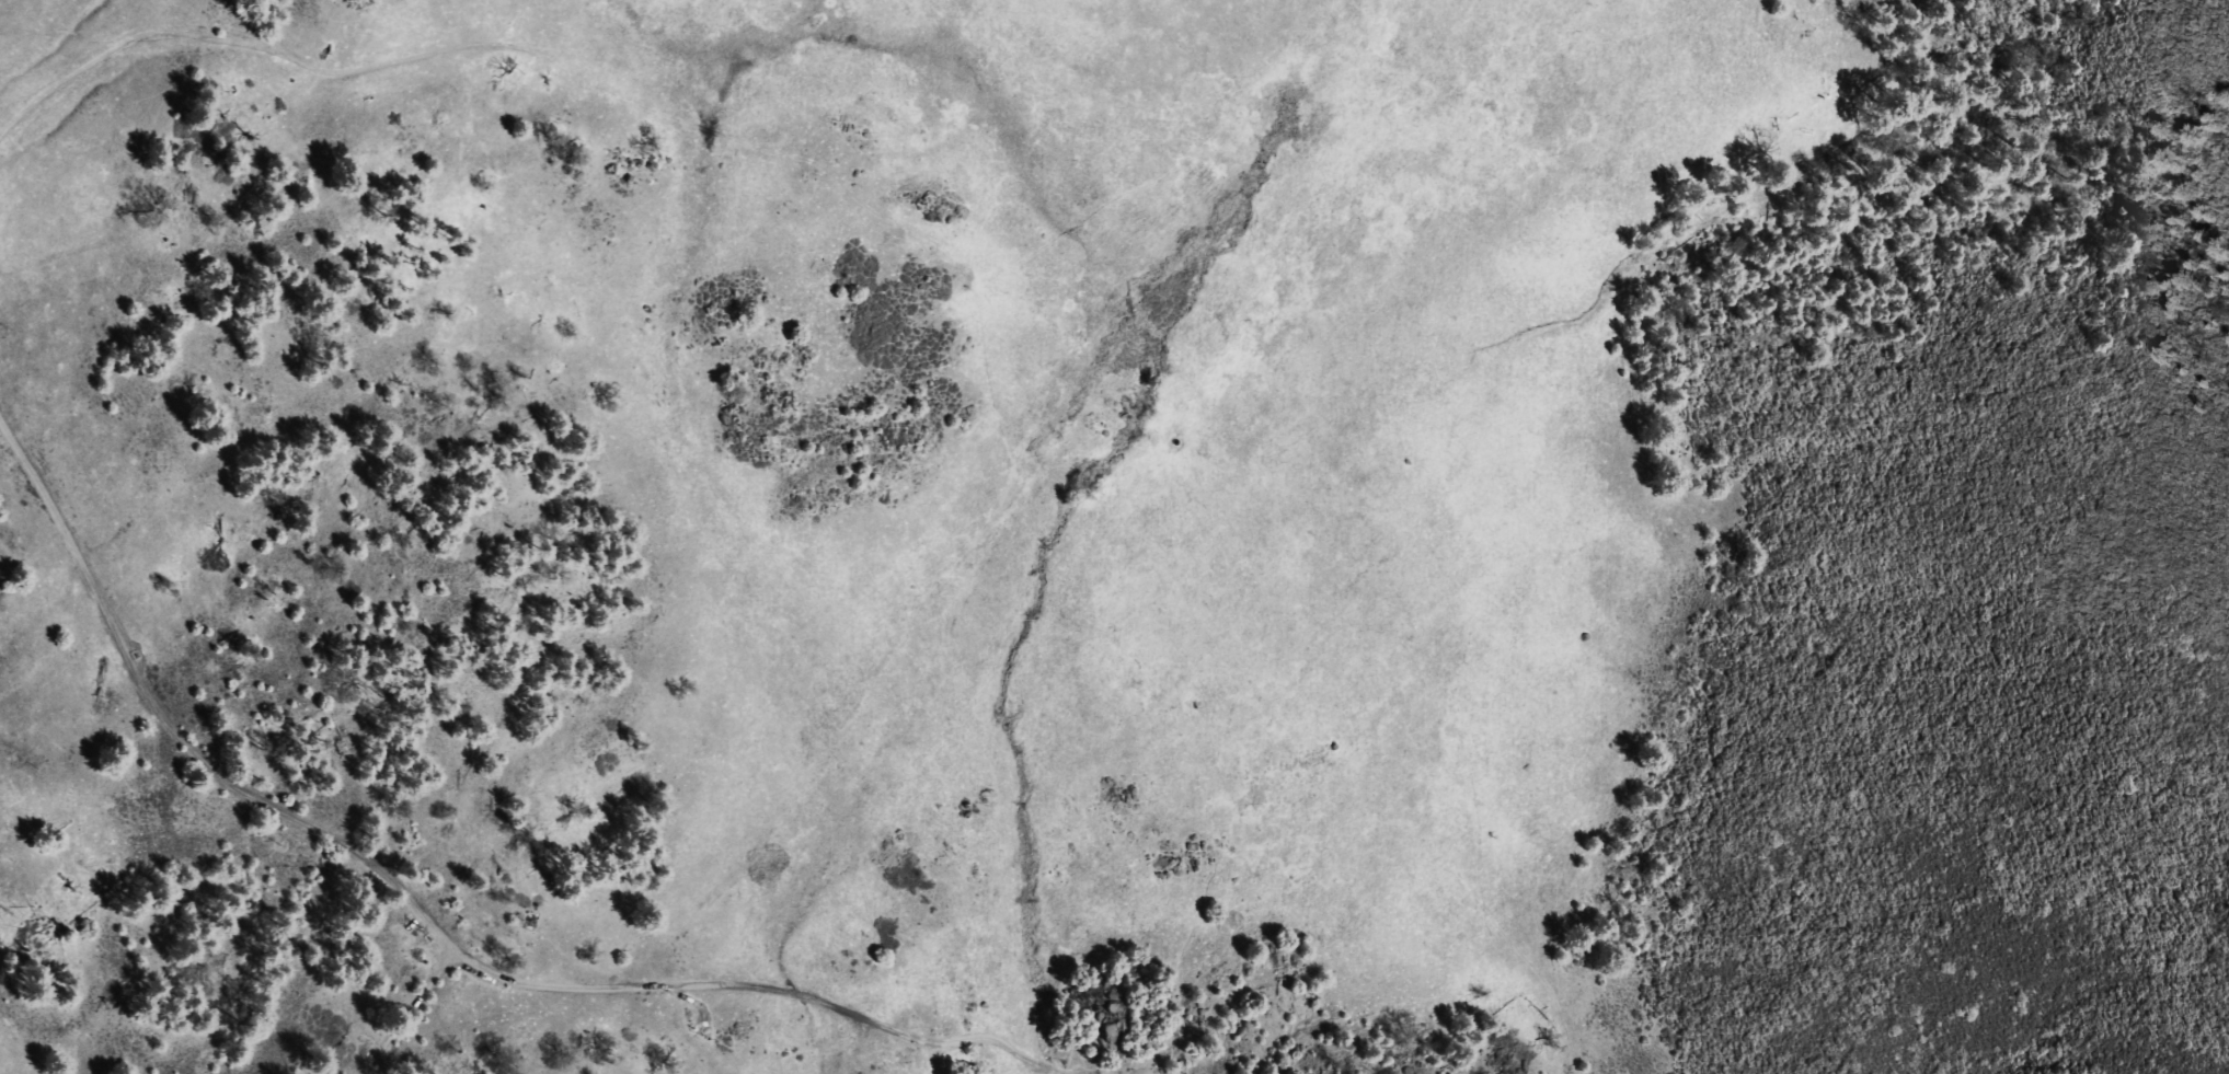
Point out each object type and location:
road: (421, 922)

